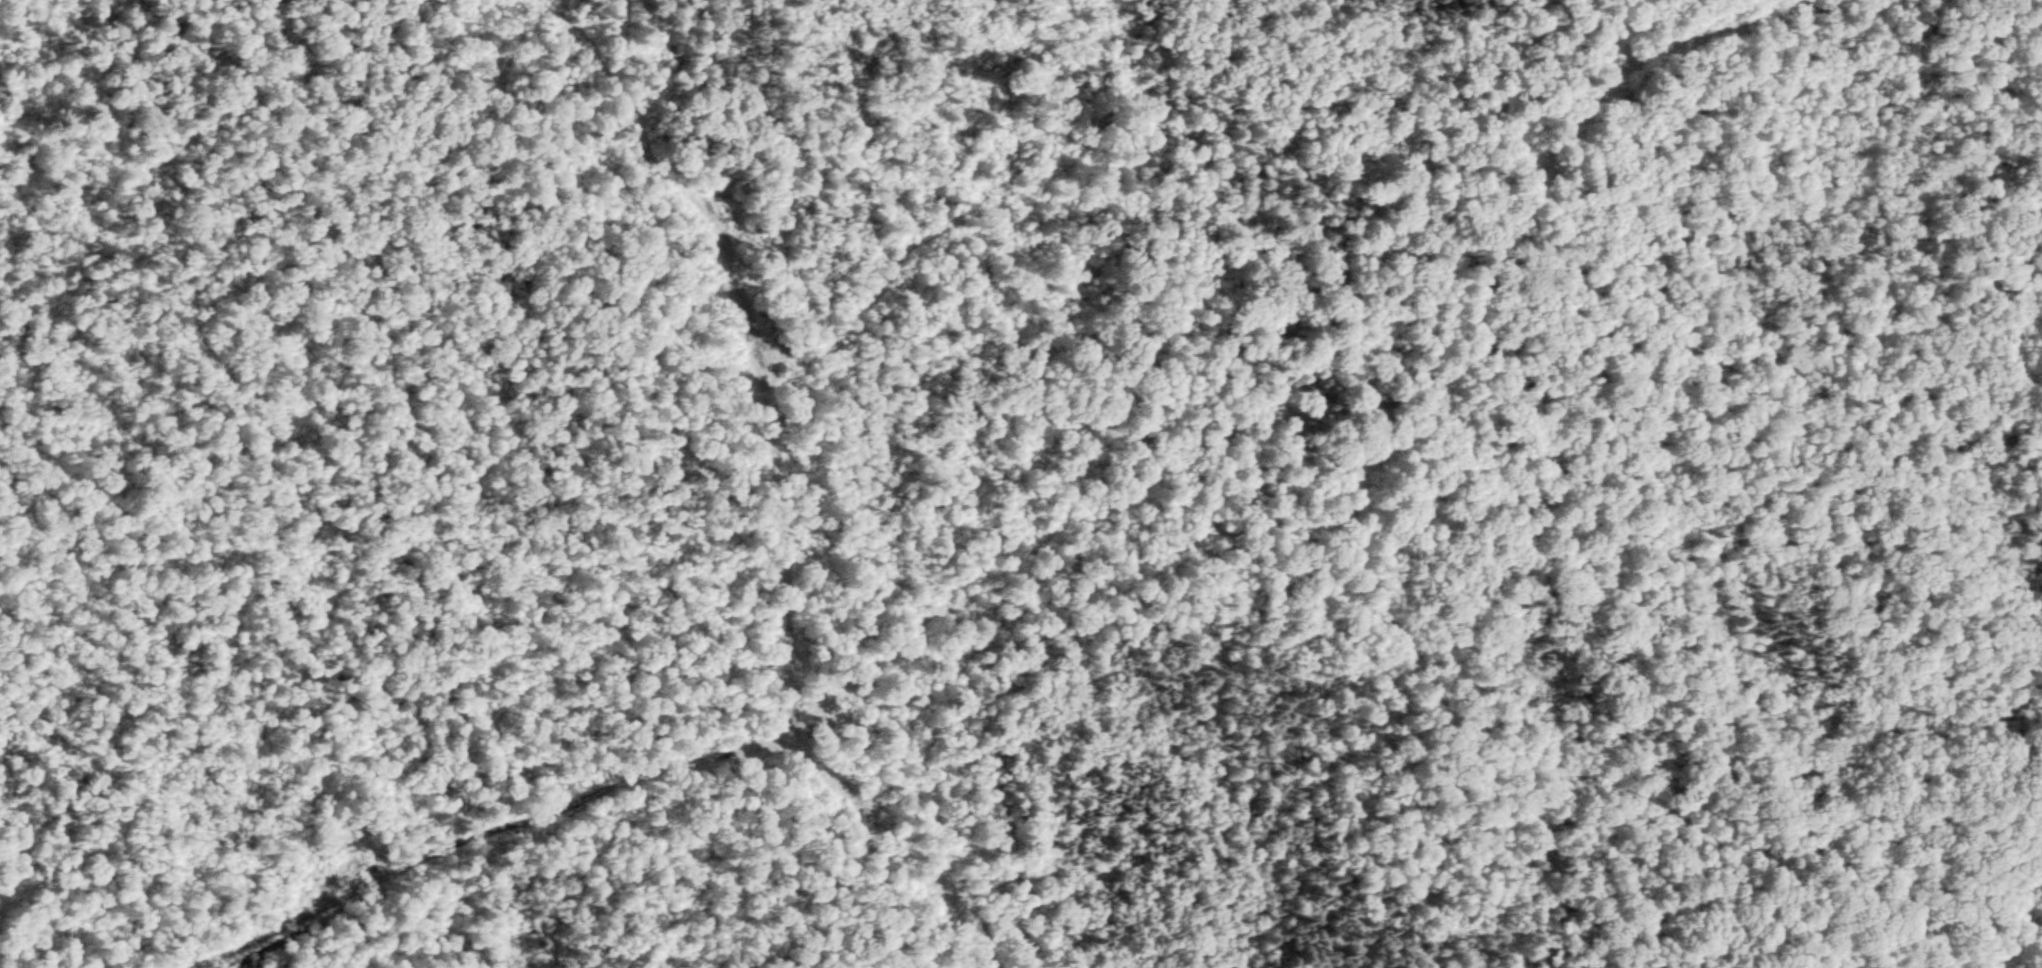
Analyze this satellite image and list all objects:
road: (761, 354)
road: (547, 787)

